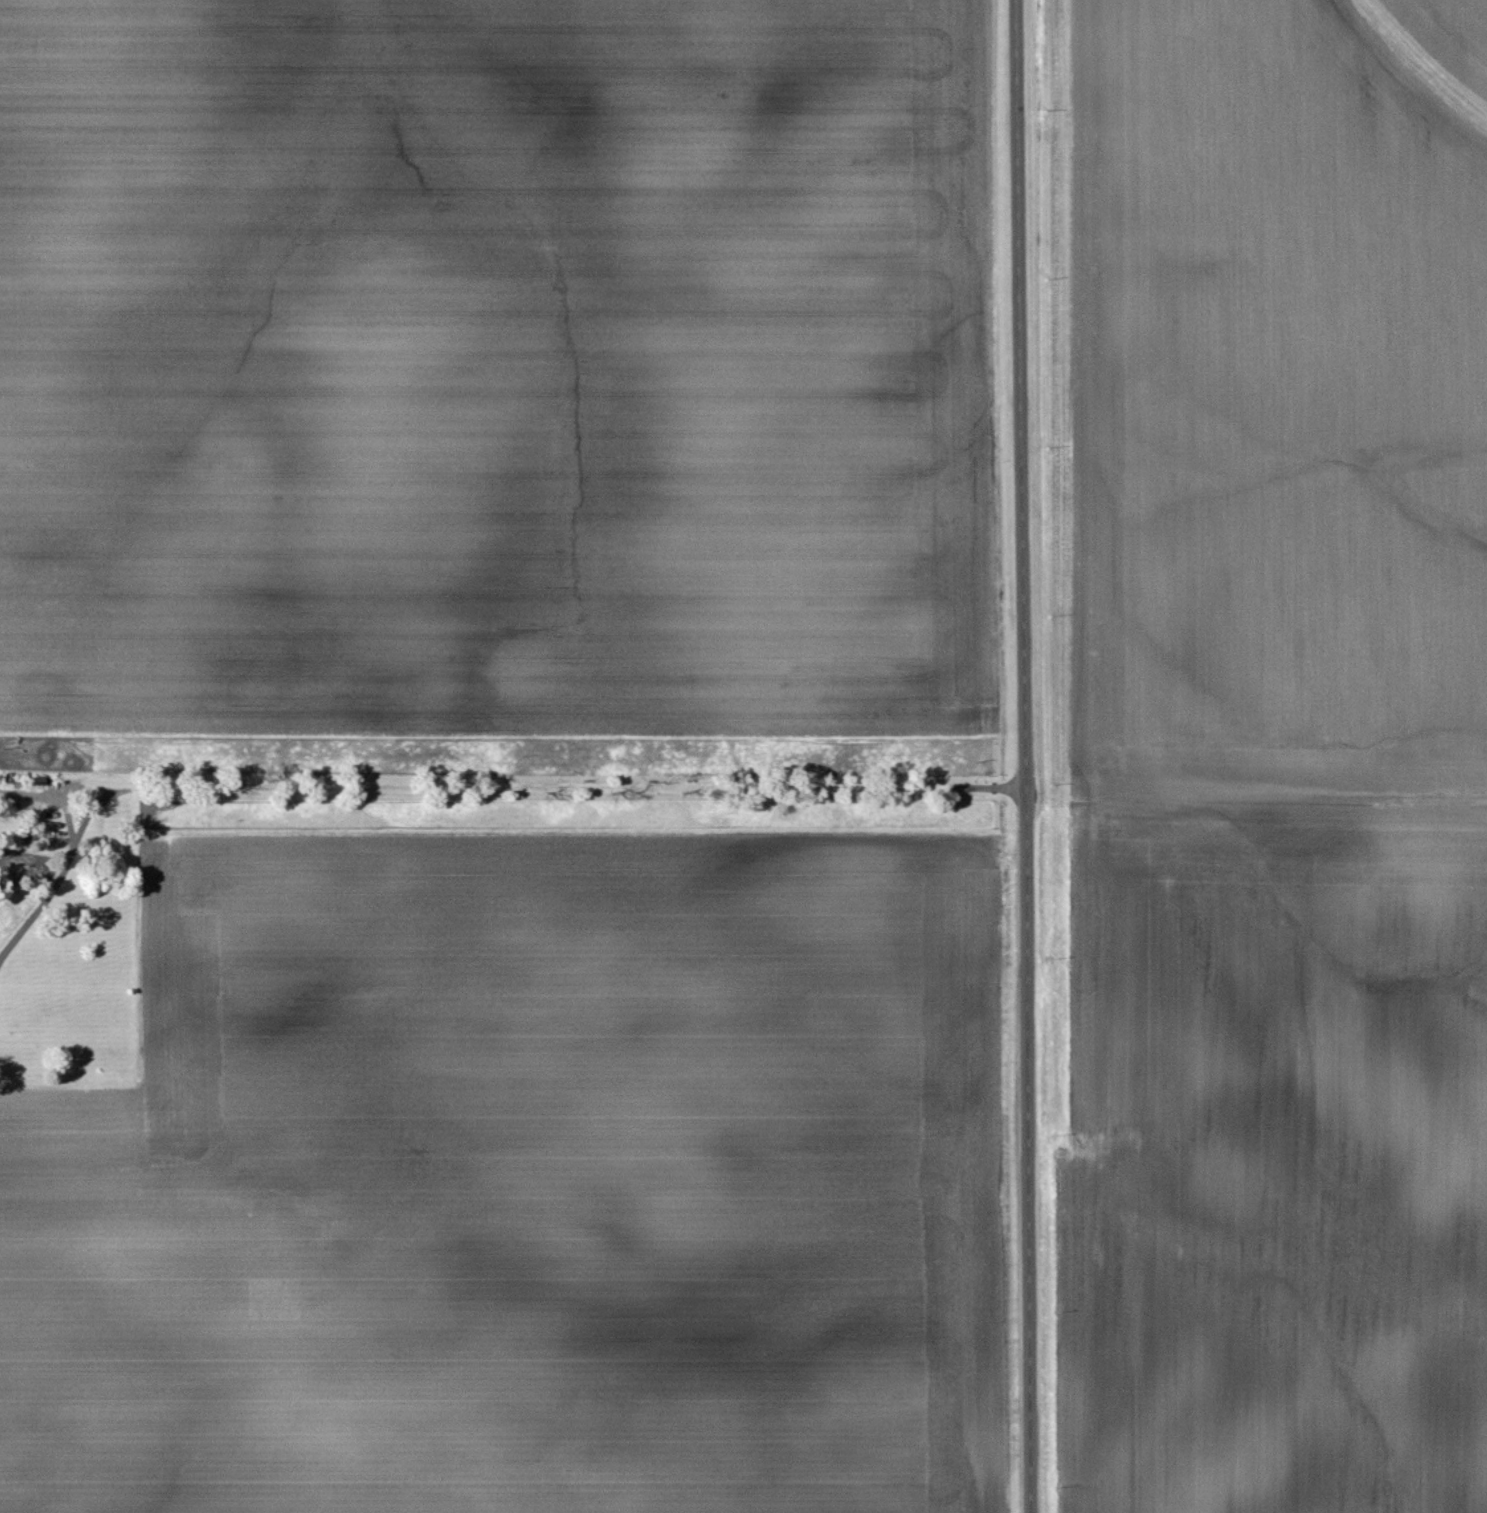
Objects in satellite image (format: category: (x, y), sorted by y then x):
road: (1023, 756)
road: (543, 780)
road: (60, 868)

